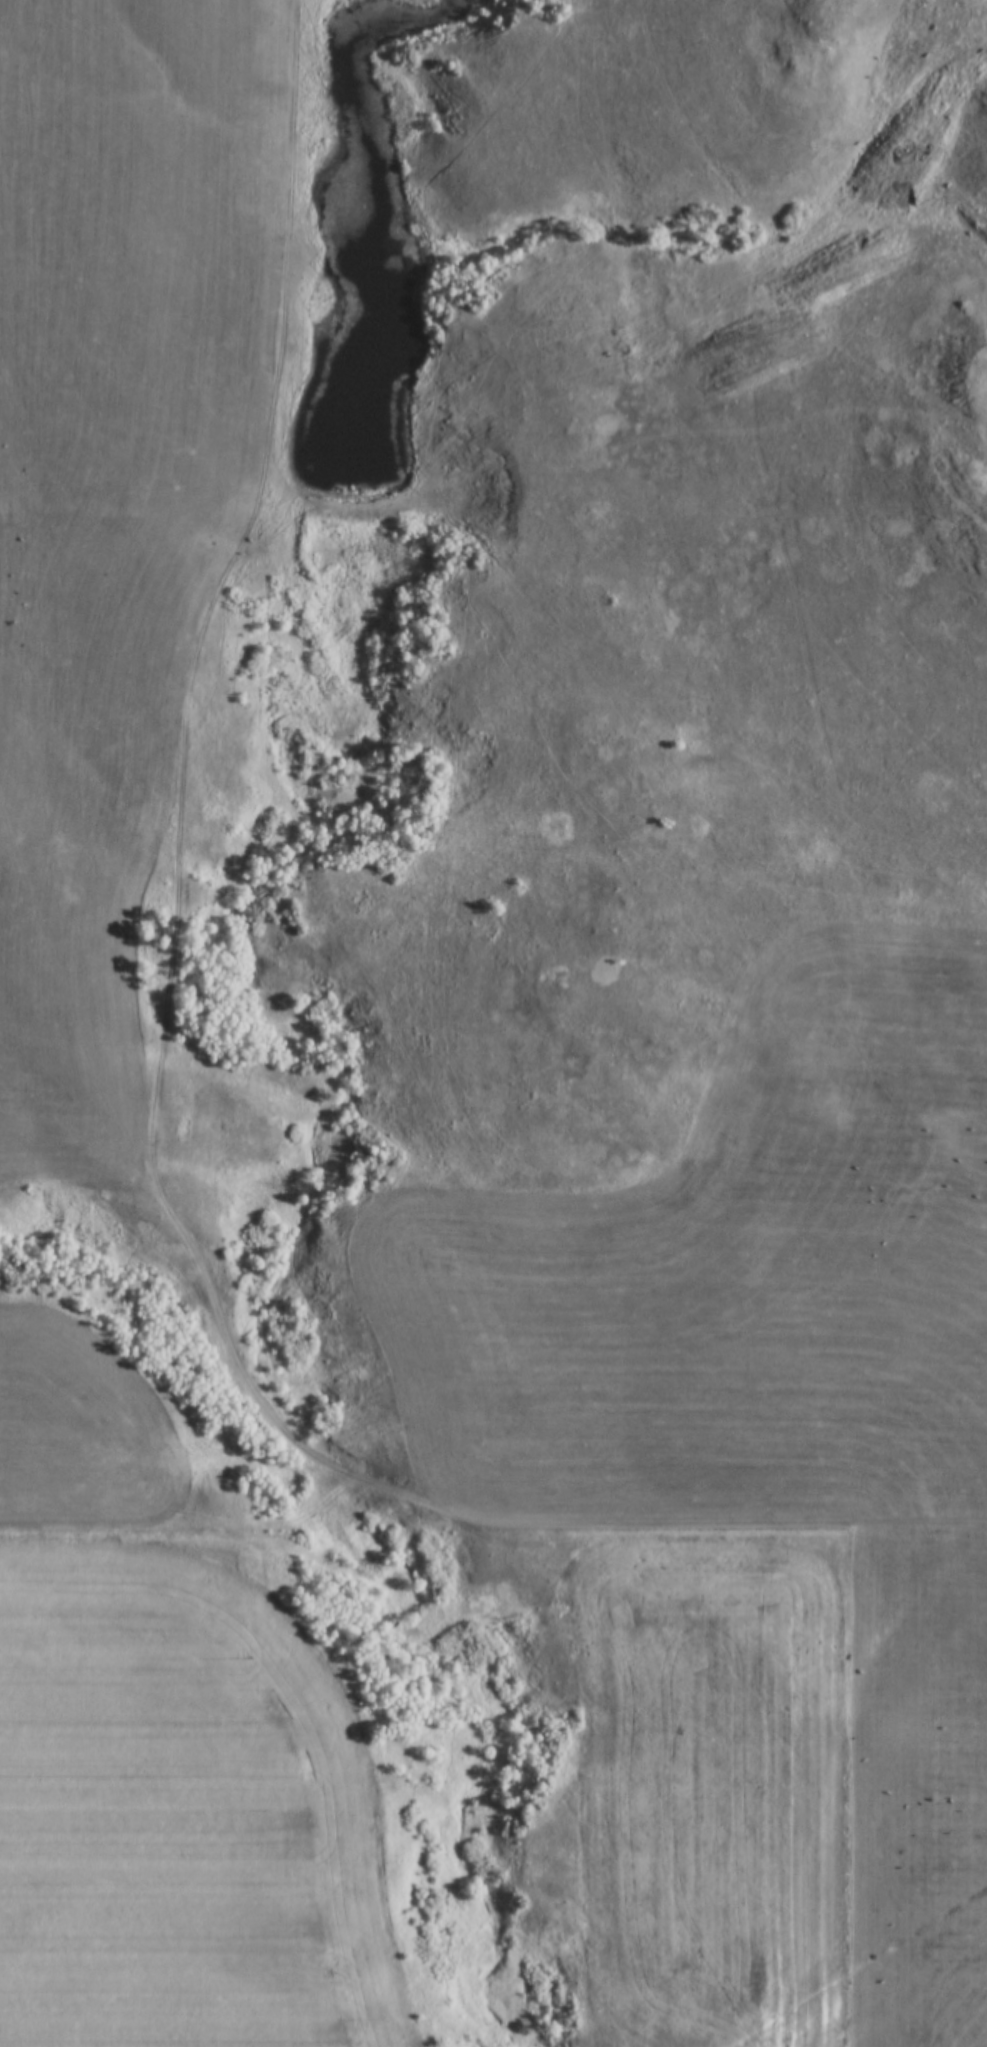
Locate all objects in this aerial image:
quarry: (972, 435)
road: (855, 511)
road: (159, 1090)

